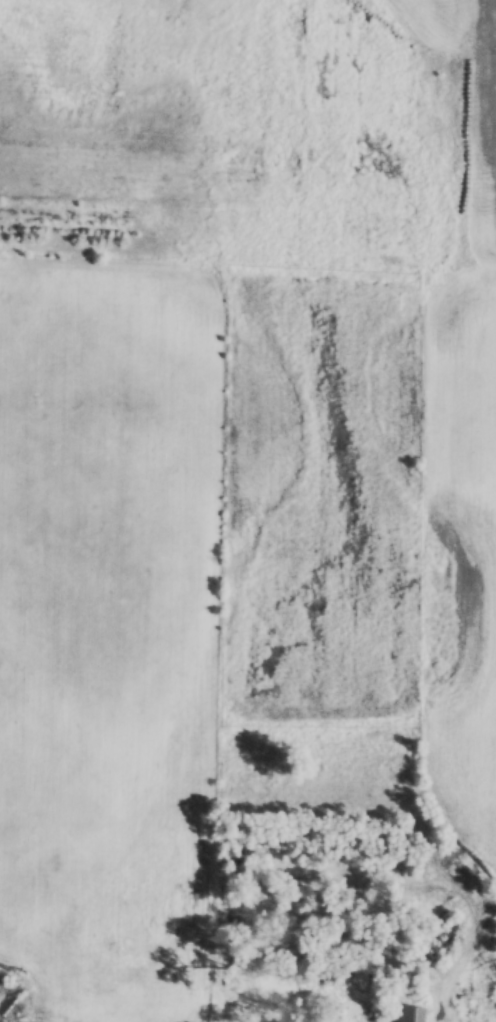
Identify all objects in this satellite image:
building: (411, 1014)

